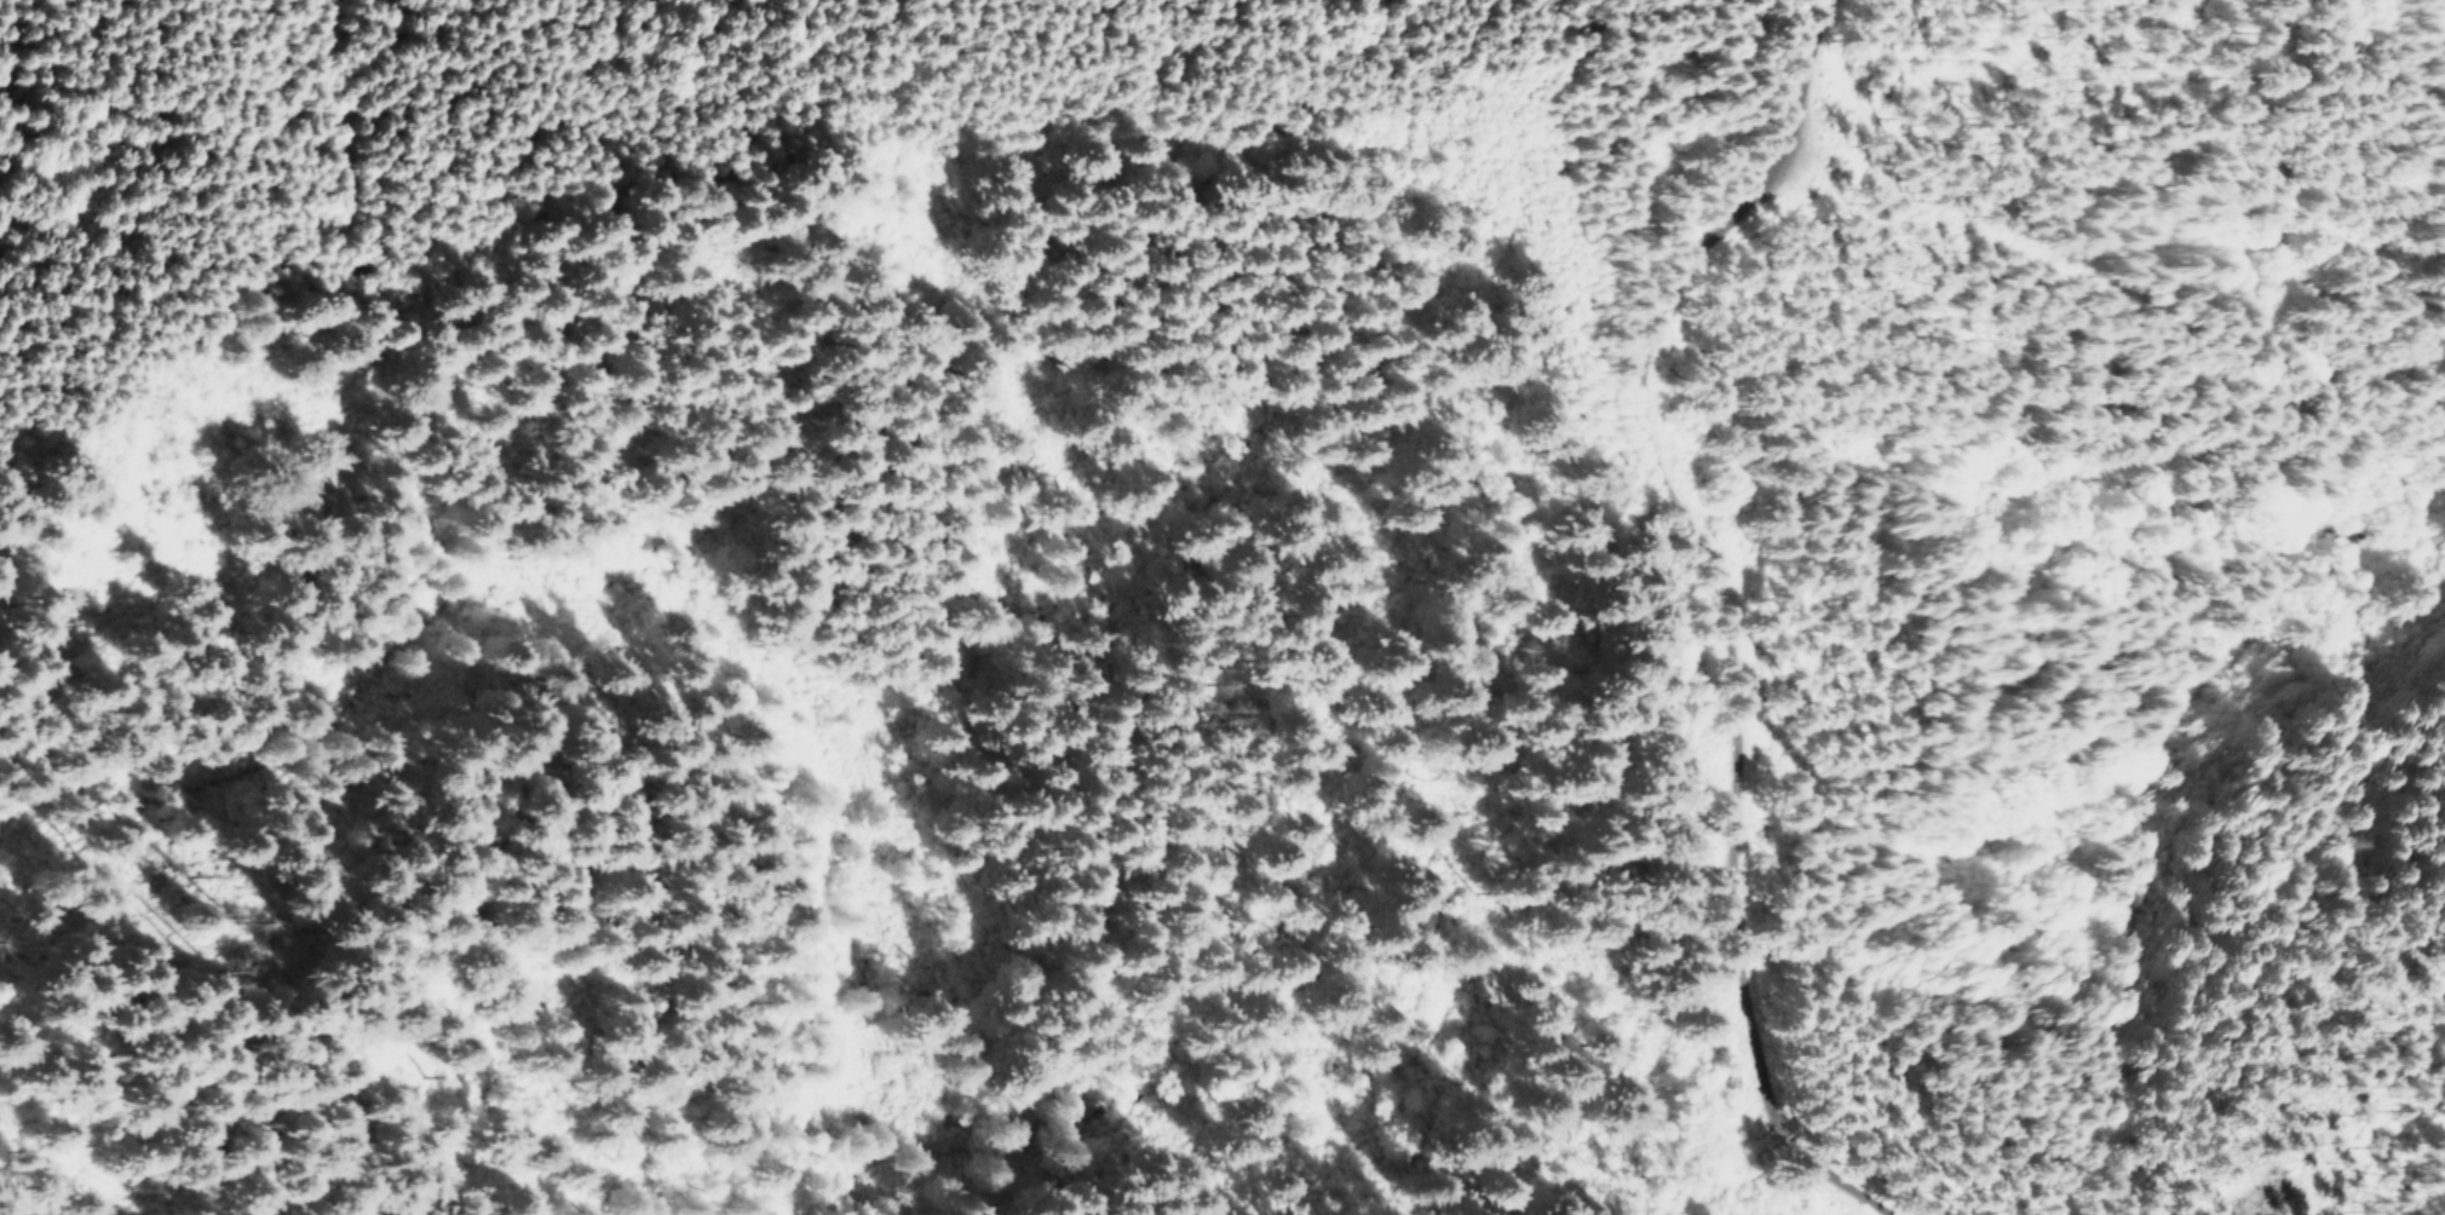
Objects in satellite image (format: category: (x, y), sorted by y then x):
road: (1824, 649)

